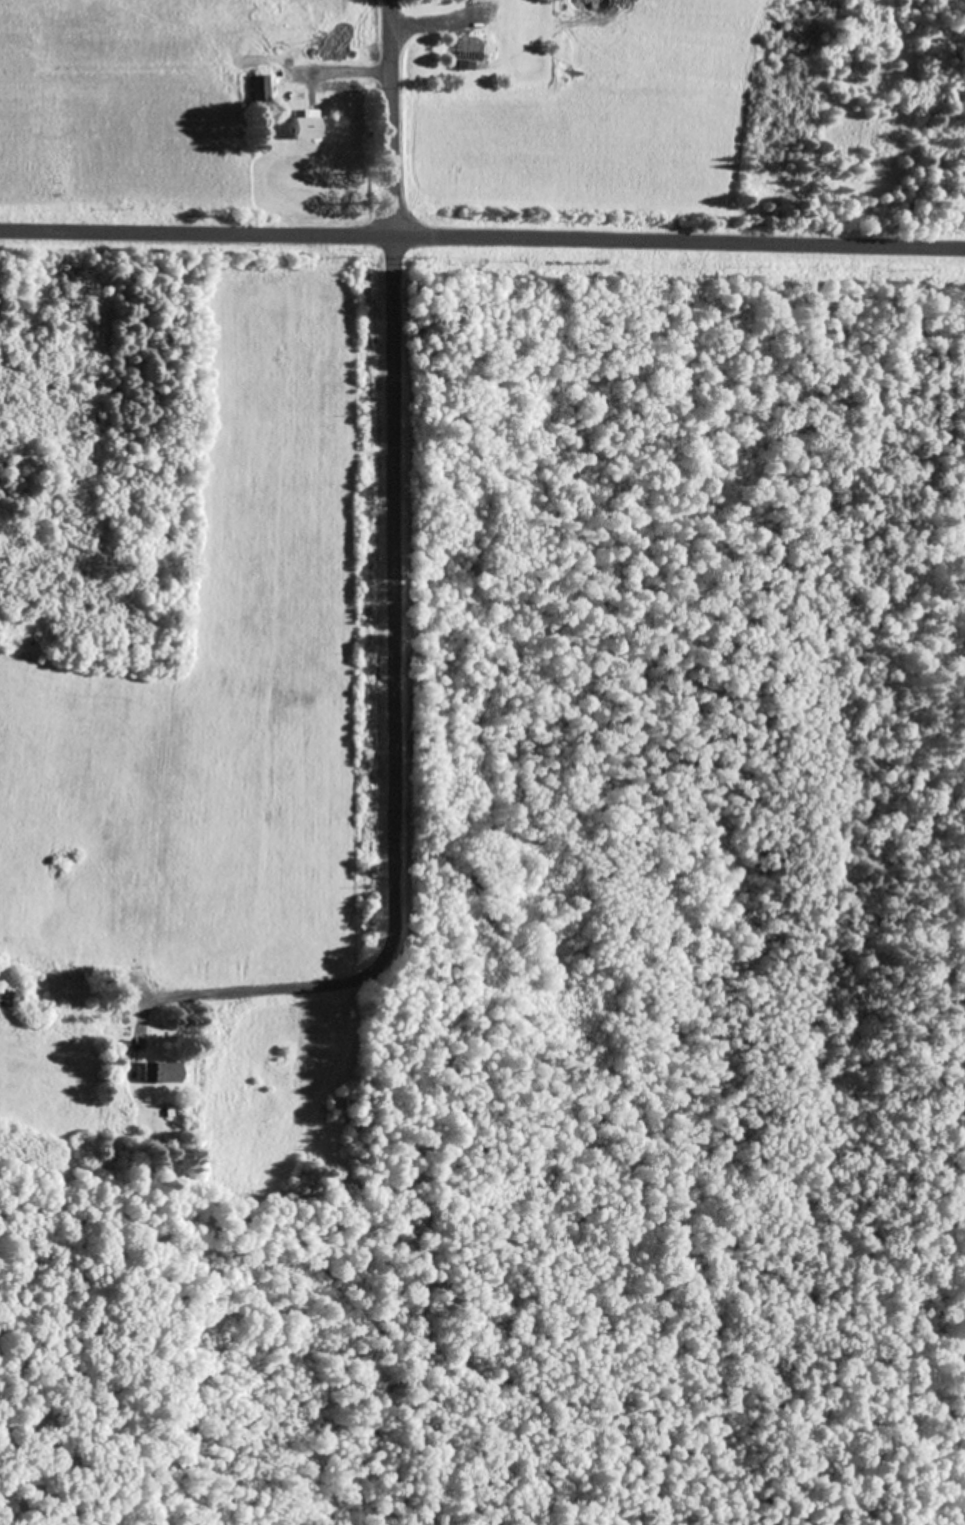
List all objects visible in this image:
building: (469, 52)
building: (261, 89)
building: (307, 124)
road: (392, 124)
road: (482, 248)
road: (393, 711)
building: (162, 1072)

